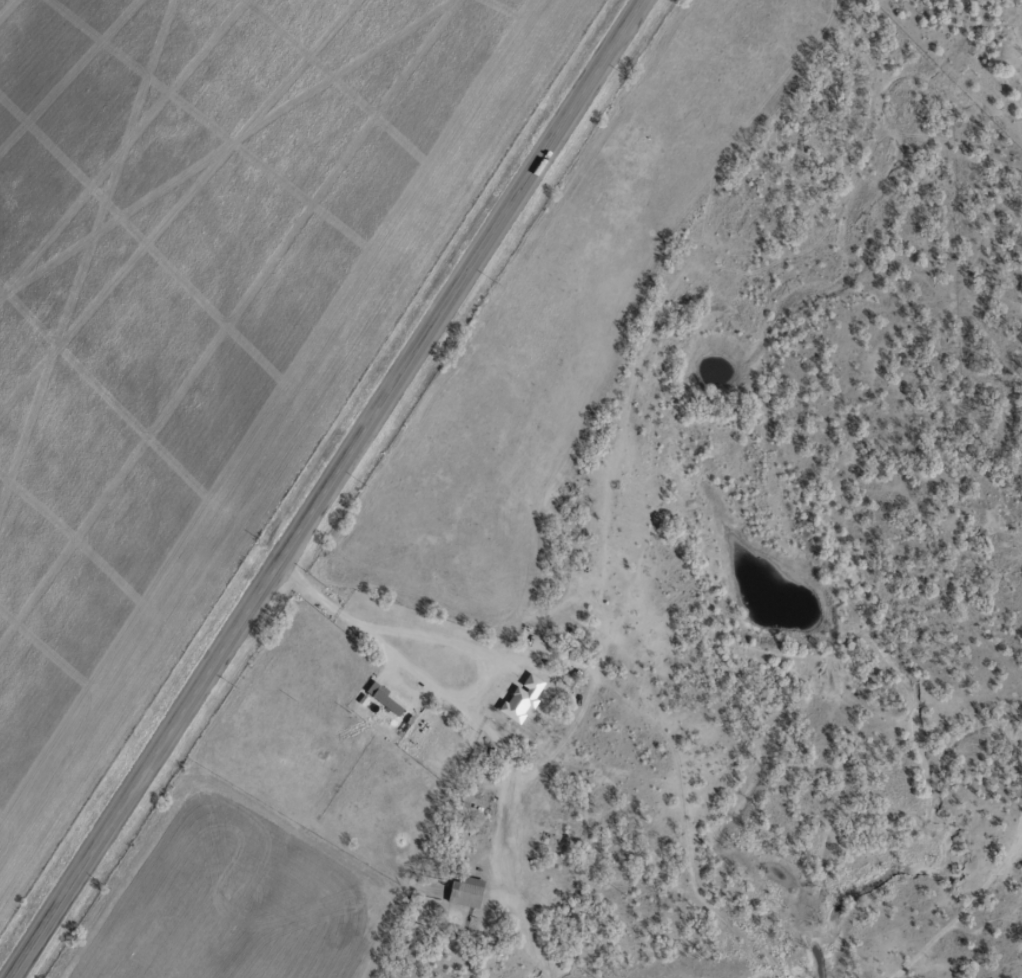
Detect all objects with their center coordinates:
road: (329, 489)
road: (595, 570)
road: (299, 624)
road: (471, 625)
building: (379, 695)
building: (521, 696)
building: (463, 890)

